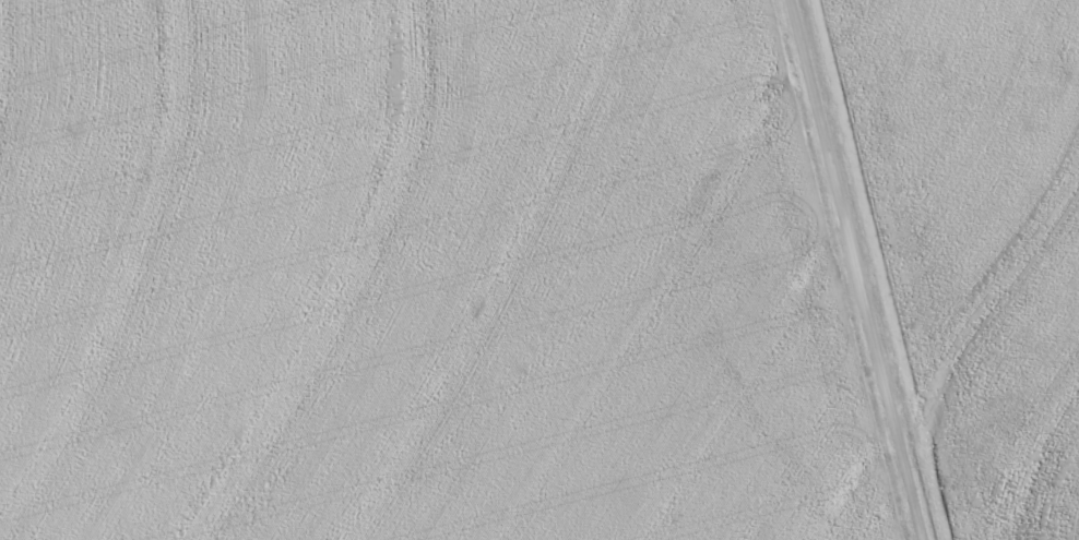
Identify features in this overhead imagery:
road: (859, 269)

